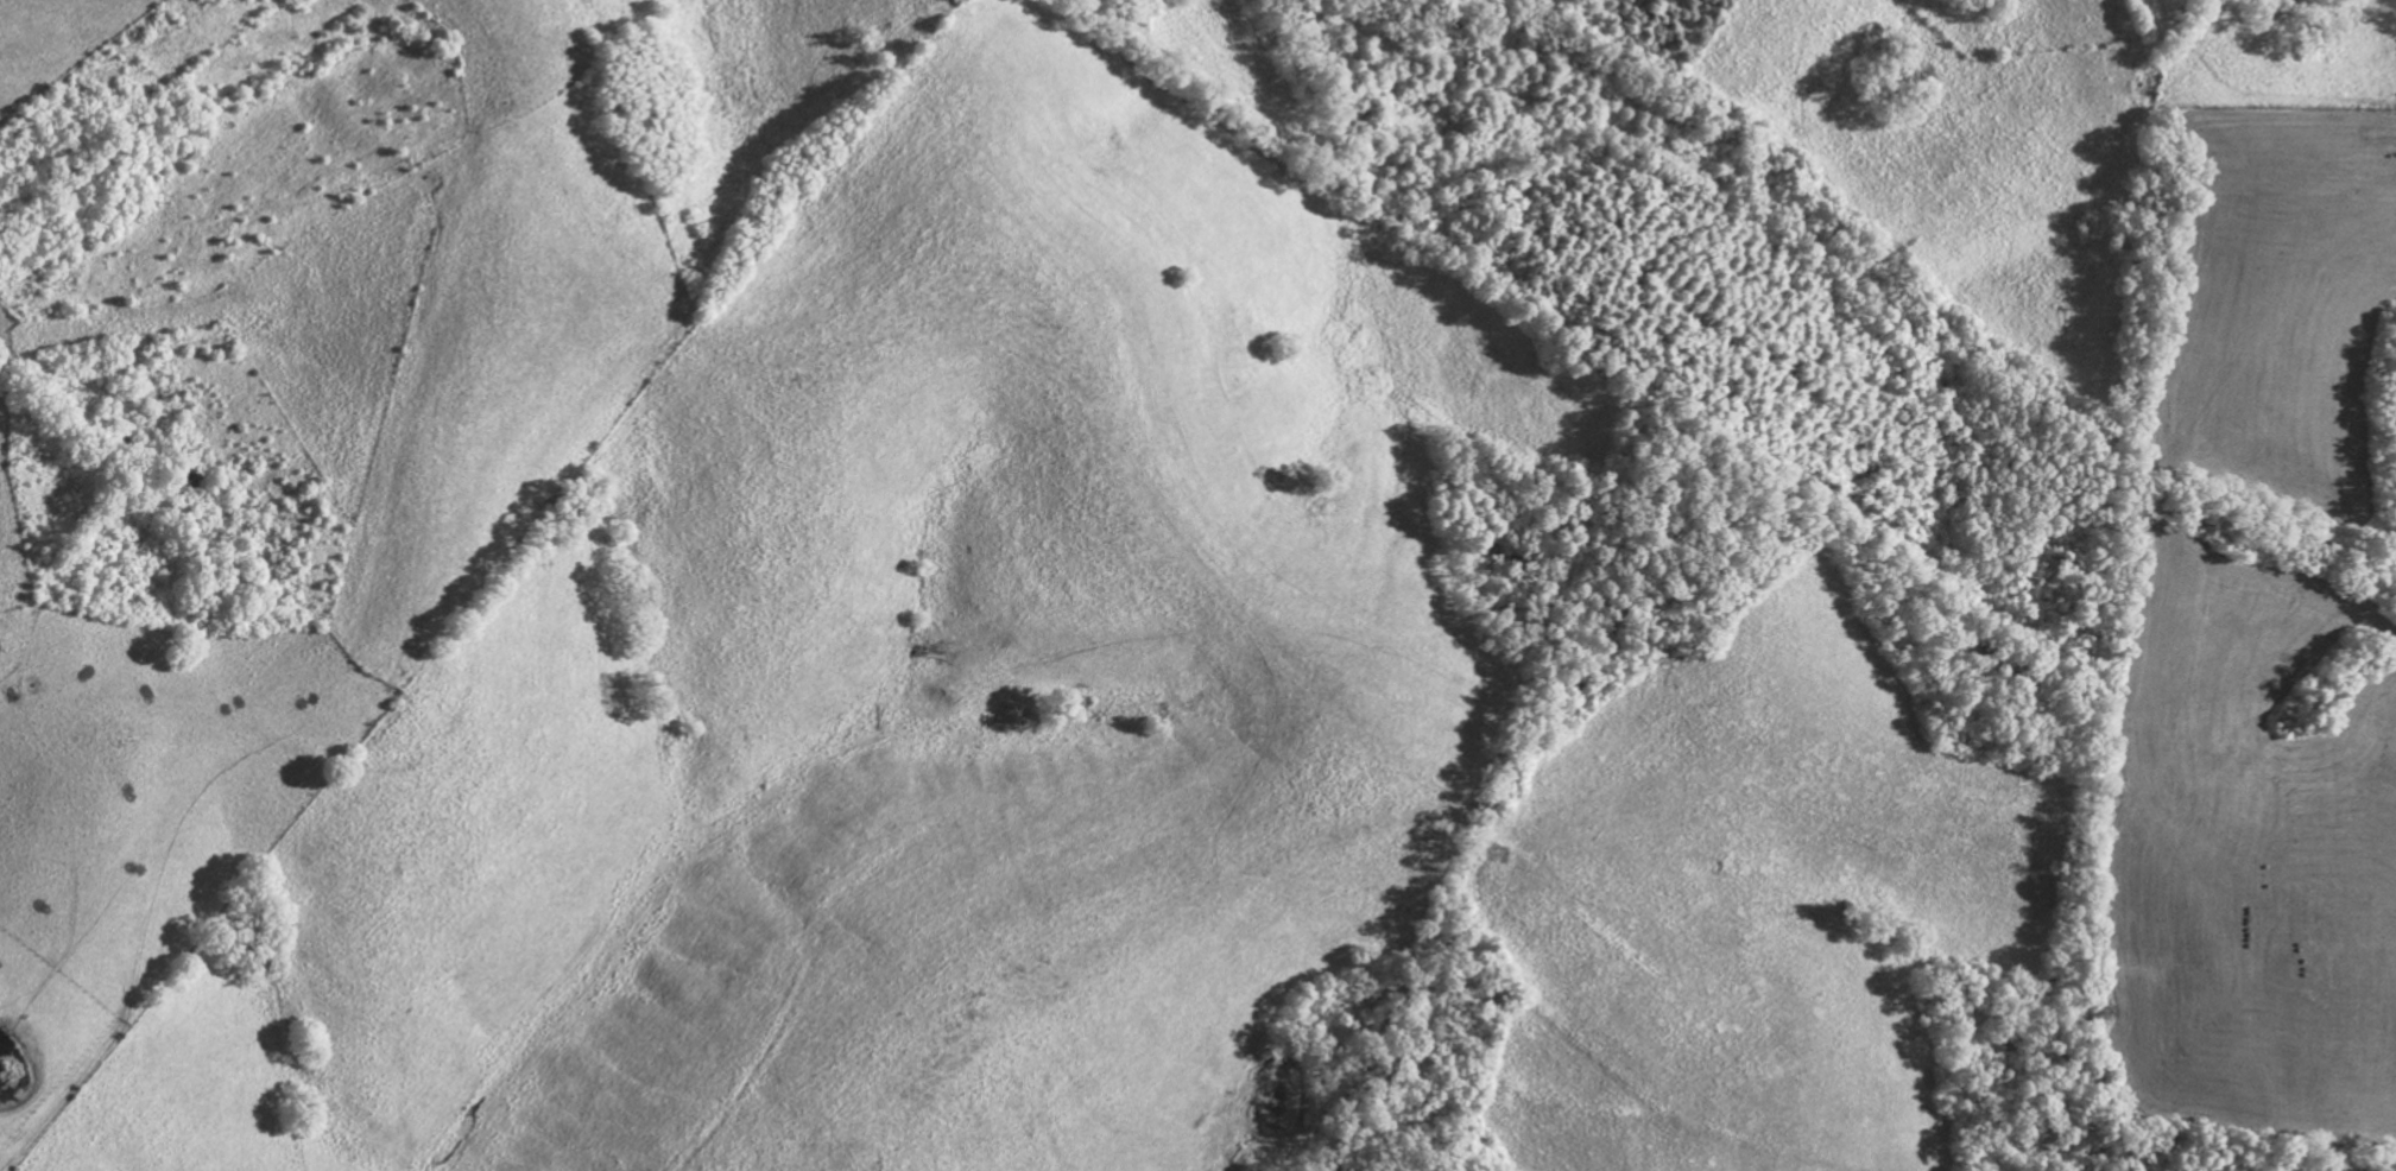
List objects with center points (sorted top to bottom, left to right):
road: (2276, 89)

